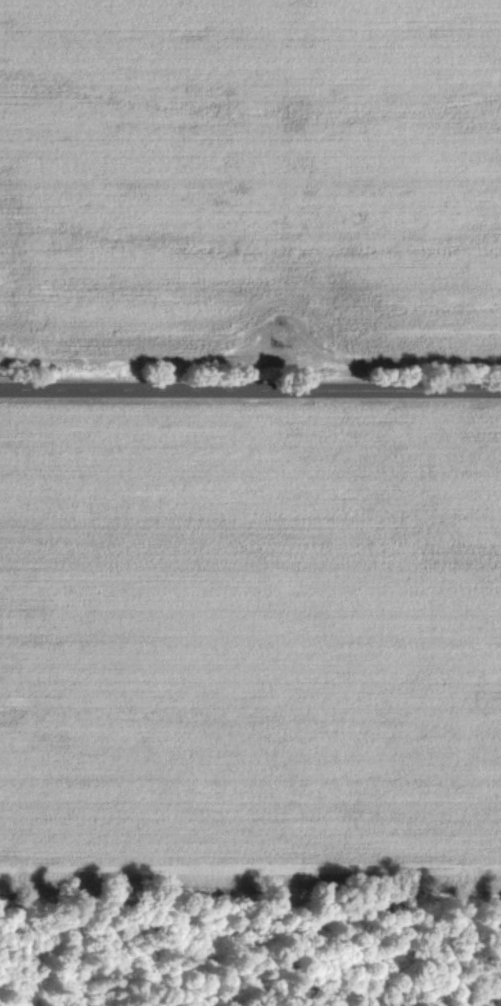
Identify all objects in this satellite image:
crop: (249, 179)
road: (250, 388)
crop: (250, 654)

